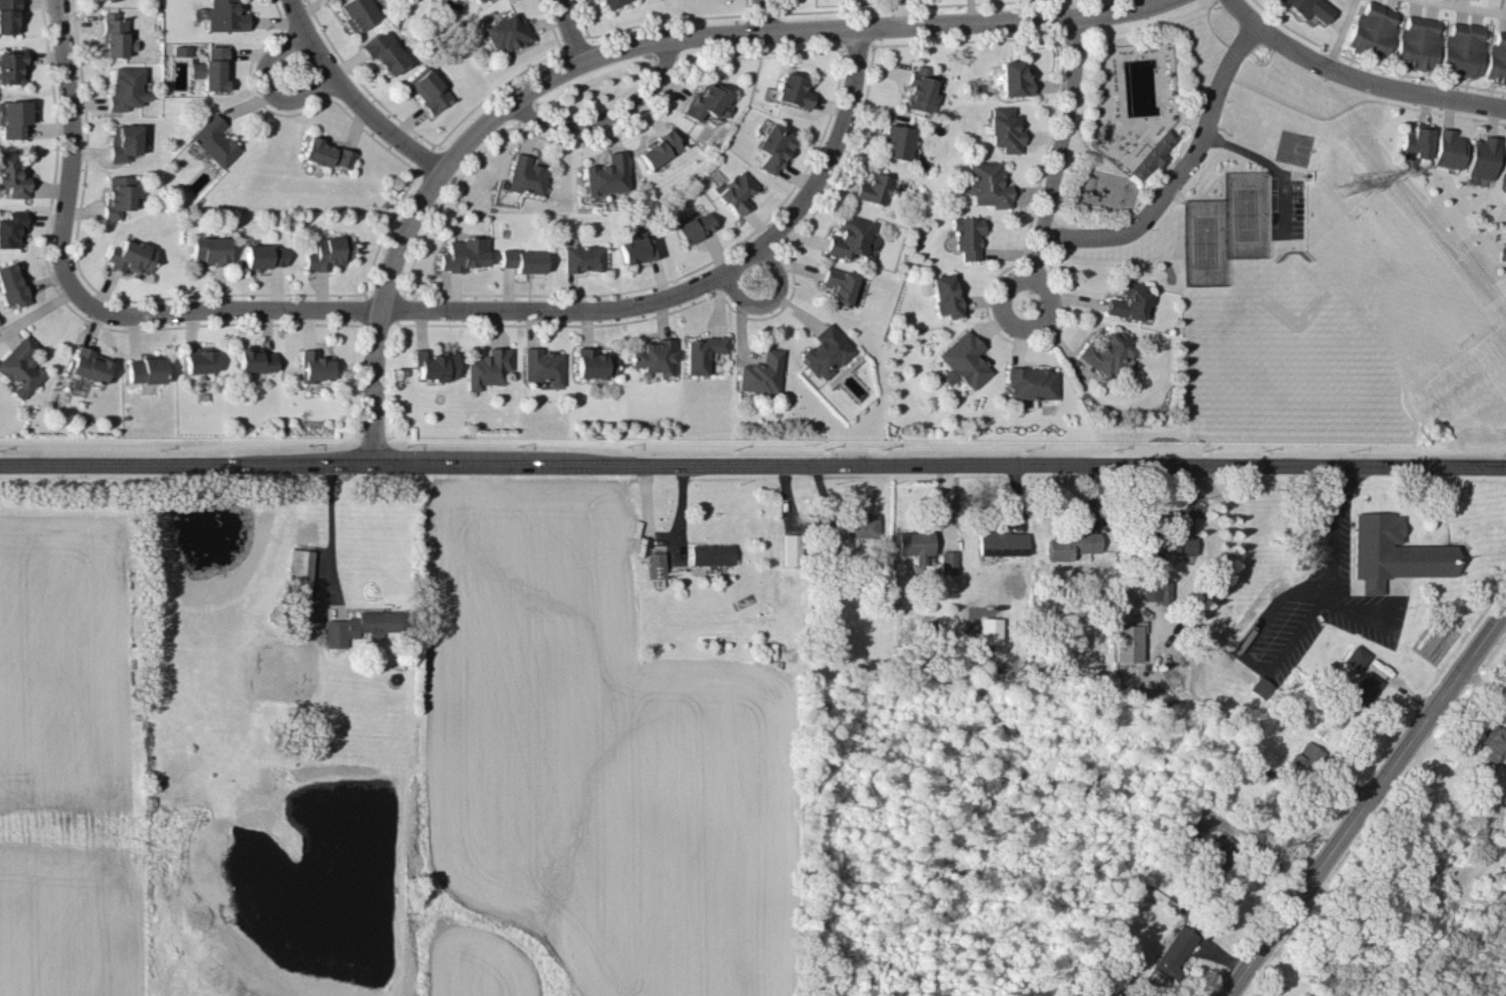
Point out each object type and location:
building: (478, 0)
building: (613, 3)
road: (1468, 6)
building: (1311, 9)
building: (357, 13)
road: (761, 14)
building: (225, 15)
building: (8, 16)
road: (565, 28)
building: (1371, 30)
building: (507, 32)
road: (1341, 33)
building: (114, 35)
road: (623, 41)
building: (1417, 43)
building: (1462, 49)
building: (384, 51)
building: (1496, 58)
building: (12, 65)
building: (212, 68)
road: (1358, 77)
building: (1012, 78)
road: (267, 86)
building: (126, 87)
building: (428, 88)
building: (920, 89)
building: (792, 90)
road: (353, 96)
building: (707, 100)
building: (13, 117)
road: (600, 117)
building: (1004, 129)
building: (1416, 139)
building: (214, 140)
building: (124, 141)
building: (896, 141)
building: (773, 146)
building: (660, 147)
building: (1448, 148)
building: (327, 153)
building: (1152, 154)
building: (1482, 156)
road: (1056, 159)
building: (1504, 162)
road: (1179, 171)
building: (12, 174)
building: (608, 174)
building: (527, 175)
building: (987, 184)
power tower: (1346, 186)
building: (873, 188)
building: (736, 191)
building: (119, 195)
building: (695, 226)
building: (11, 227)
building: (967, 235)
building: (849, 237)
building: (640, 249)
building: (209, 250)
building: (328, 252)
building: (464, 253)
building: (1502, 253)
building: (131, 255)
building: (264, 255)
building: (584, 257)
building: (524, 259)
road: (697, 283)
building: (11, 284)
building: (839, 285)
building: (945, 295)
road: (81, 296)
road: (772, 299)
building: (1127, 300)
building: (826, 351)
building: (702, 352)
building: (1104, 352)
building: (655, 355)
building: (199, 358)
building: (255, 359)
building: (963, 360)
building: (595, 362)
building: (435, 363)
building: (89, 364)
building: (314, 365)
building: (543, 365)
building: (20, 367)
building: (488, 367)
building: (146, 368)
building: (762, 372)
building: (1030, 382)
road: (752, 462)
building: (858, 523)
road: (330, 529)
building: (1000, 541)
building: (914, 543)
building: (1169, 544)
building: (1068, 545)
building: (791, 548)
building: (1393, 552)
building: (711, 553)
building: (947, 561)
road: (1328, 563)
building: (655, 570)
building: (300, 574)
building: (1155, 589)
building: (360, 626)
building: (989, 629)
building: (1128, 641)
road: (1243, 655)
building: (1356, 656)
building: (1260, 687)
building: (1364, 687)
road: (1487, 690)
building: (1494, 742)
building: (1302, 757)
road: (1369, 808)
building: (1220, 852)
building: (1172, 952)

